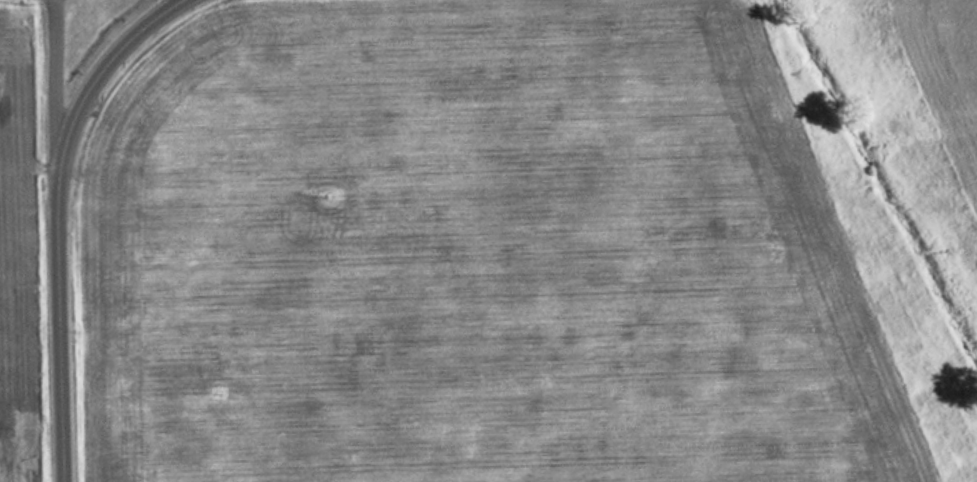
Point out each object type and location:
road: (116, 55)
road: (58, 240)

